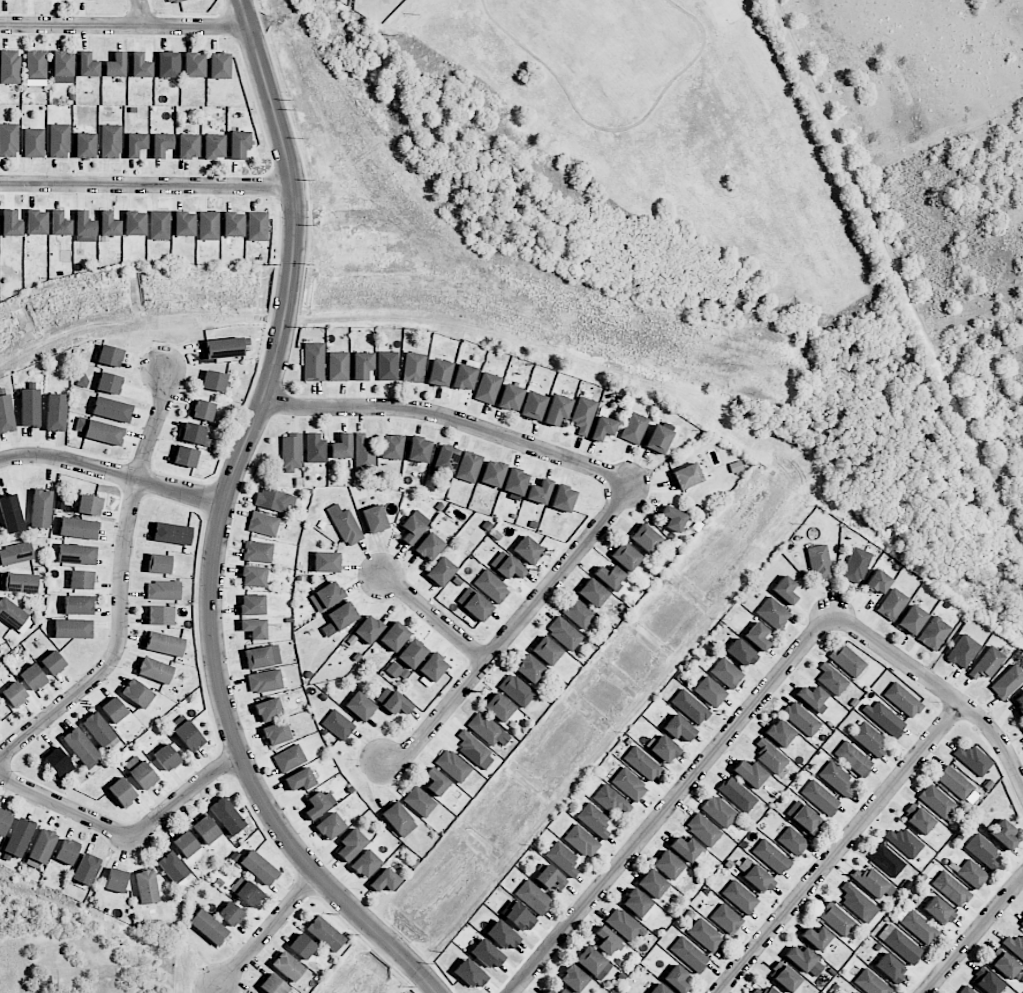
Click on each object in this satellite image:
building: (88, 0)
building: (173, 1)
road: (143, 13)
road: (123, 25)
building: (168, 64)
building: (36, 65)
building: (88, 65)
building: (116, 65)
building: (194, 65)
building: (140, 66)
building: (219, 66)
building: (9, 67)
building: (62, 67)
road: (613, 130)
building: (8, 140)
building: (59, 141)
building: (110, 142)
building: (33, 143)
building: (135, 144)
building: (161, 144)
building: (239, 144)
building: (85, 145)
park: (632, 145)
building: (188, 146)
building: (214, 146)
road: (147, 184)
building: (36, 222)
building: (10, 223)
building: (135, 223)
building: (59, 224)
building: (108, 224)
building: (184, 224)
building: (233, 224)
building: (159, 225)
building: (208, 226)
building: (258, 226)
building: (84, 227)
road: (894, 274)
building: (225, 347)
building: (110, 356)
building: (313, 361)
building: (338, 366)
building: (362, 366)
building: (387, 366)
building: (413, 367)
building: (439, 373)
building: (464, 377)
building: (214, 381)
building: (109, 383)
building: (487, 388)
building: (510, 397)
building: (533, 406)
building: (29, 407)
building: (112, 409)
building: (202, 410)
building: (557, 410)
building: (56, 412)
building: (6, 414)
building: (583, 415)
road: (453, 419)
building: (602, 428)
building: (634, 428)
building: (100, 431)
building: (194, 434)
building: (658, 439)
building: (341, 447)
building: (391, 447)
building: (315, 448)
building: (419, 449)
building: (291, 452)
building: (364, 453)
building: (185, 456)
building: (444, 462)
building: (469, 467)
road: (112, 473)
building: (492, 473)
building: (686, 476)
building: (515, 483)
building: (539, 492)
building: (563, 498)
building: (274, 500)
building: (90, 505)
building: (40, 509)
building: (11, 514)
building: (673, 518)
building: (374, 519)
building: (263, 524)
building: (345, 525)
road: (220, 526)
building: (414, 526)
building: (77, 528)
building: (172, 533)
building: (645, 538)
building: (429, 547)
building: (527, 550)
building: (258, 551)
building: (16, 553)
building: (76, 554)
building: (626, 556)
building: (326, 562)
building: (819, 562)
building: (159, 564)
building: (856, 565)
building: (507, 566)
building: (440, 571)
building: (253, 576)
building: (609, 576)
building: (81, 580)
building: (877, 583)
building: (491, 586)
road: (122, 589)
building: (163, 590)
building: (785, 590)
building: (592, 593)
building: (326, 596)
building: (252, 604)
building: (474, 604)
building: (78, 605)
building: (892, 605)
building: (578, 613)
building: (773, 613)
building: (160, 615)
building: (14, 616)
building: (339, 619)
road: (436, 619)
building: (911, 619)
building: (254, 628)
building: (72, 629)
building: (368, 629)
road: (511, 630)
building: (564, 633)
building: (934, 633)
building: (394, 636)
building: (757, 636)
building: (164, 644)
building: (546, 651)
building: (963, 651)
building: (741, 653)
building: (412, 654)
building: (262, 657)
building: (847, 660)
building: (988, 662)
building: (53, 663)
building: (529, 668)
building: (432, 669)
building: (154, 670)
building: (395, 671)
building: (726, 673)
building: (32, 677)
building: (831, 679)
building: (265, 681)
building: (1007, 682)
road: (940, 687)
building: (516, 690)
building: (710, 692)
building: (137, 693)
building: (14, 694)
building: (811, 697)
building: (902, 700)
building: (393, 701)
building: (360, 706)
building: (1019, 706)
building: (499, 707)
building: (690, 707)
building: (268, 709)
building: (114, 710)
building: (884, 718)
building: (801, 719)
building: (338, 725)
building: (1022, 725)
building: (678, 728)
building: (98, 729)
building: (487, 730)
building: (276, 733)
building: (779, 733)
building: (188, 736)
building: (869, 739)
building: (81, 748)
building: (664, 749)
building: (474, 751)
building: (770, 756)
building: (166, 757)
building: (289, 758)
building: (853, 758)
building: (973, 760)
building: (58, 763)
building: (642, 763)
building: (453, 765)
building: (140, 772)
building: (750, 773)
building: (836, 778)
building: (299, 780)
building: (436, 781)
building: (954, 782)
building: (629, 784)
building: (122, 792)
building: (737, 794)
building: (819, 797)
building: (611, 801)
building: (419, 802)
road: (672, 802)
building: (938, 802)
building: (318, 804)
building: (719, 811)
building: (226, 816)
building: (804, 817)
building: (918, 819)
building: (398, 820)
building: (594, 820)
building: (4, 821)
building: (330, 826)
building: (205, 830)
building: (703, 830)
building: (1003, 834)
road: (128, 835)
building: (19, 838)
building: (582, 841)
building: (793, 841)
building: (904, 842)
building: (186, 844)
building: (351, 845)
building: (42, 846)
building: (685, 848)
road: (841, 848)
building: (982, 851)
building: (66, 852)
building: (771, 856)
building: (562, 858)
building: (887, 859)
building: (366, 864)
building: (668, 865)
building: (258, 867)
building: (85, 869)
building: (173, 869)
building: (972, 874)
building: (551, 879)
building: (758, 879)
building: (116, 880)
building: (384, 881)
building: (872, 882)
building: (652, 884)
building: (146, 887)
building: (951, 889)
building: (246, 892)
building: (533, 897)
building: (740, 897)
building: (637, 903)
building: (858, 903)
building: (938, 911)
building: (231, 914)
building: (519, 917)
building: (726, 919)
building: (836, 919)
building: (1021, 922)
building: (624, 925)
building: (208, 926)
building: (918, 927)
road: (267, 933)
building: (324, 934)
building: (705, 935)
road: (974, 935)
building: (503, 936)
building: (816, 938)
building: (607, 941)
building: (900, 944)
building: (1015, 945)
building: (301, 946)
building: (487, 954)
building: (689, 954)
building: (805, 961)
building: (593, 963)
building: (1006, 965)
building: (287, 966)
building: (890, 968)
building: (470, 973)
building: (785, 977)
building: (573, 978)
building: (676, 978)
building: (986, 980)
building: (871, 983)
building: (273, 985)
building: (659, 989)
building: (770, 990)
building: (966, 990)
building: (549, 991)
building: (562, 991)
building: (756, 991)
building: (856, 992)

